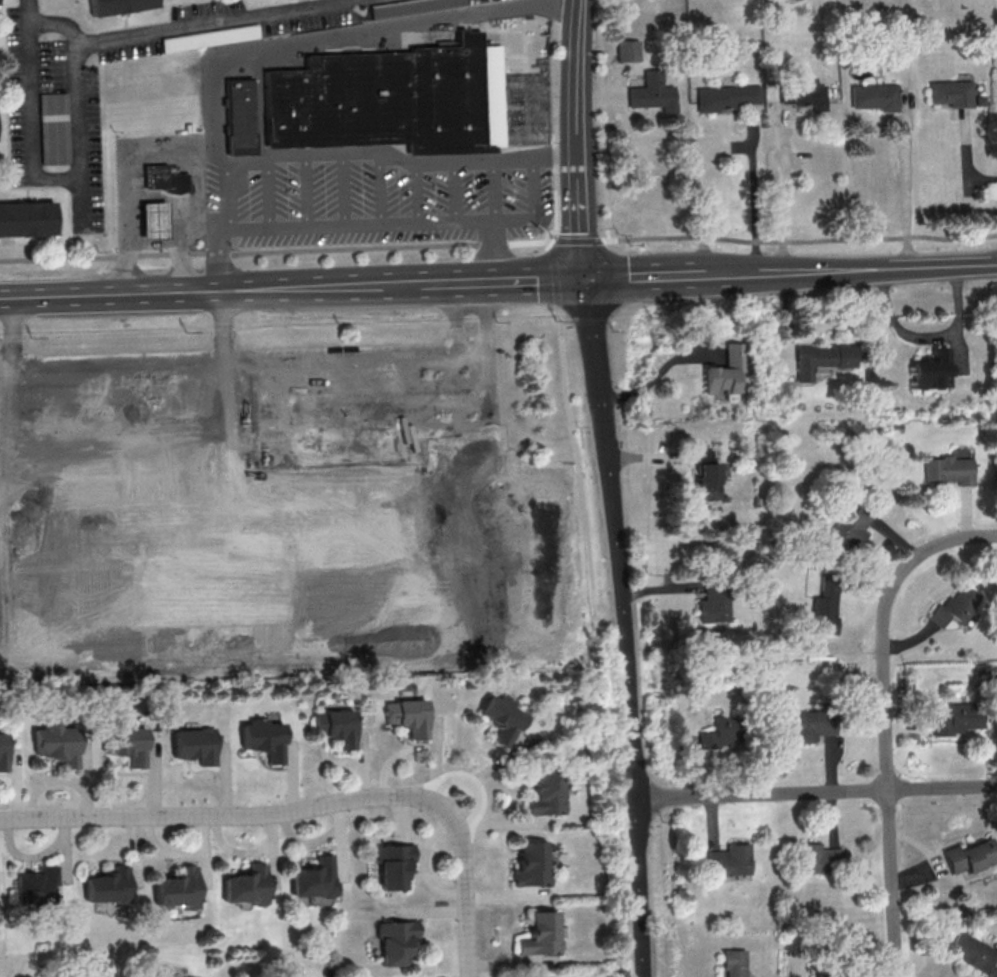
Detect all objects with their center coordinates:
road: (578, 2)
building: (115, 7)
road: (397, 26)
road: (172, 27)
building: (625, 52)
road: (576, 79)
building: (650, 95)
building: (948, 95)
building: (800, 97)
building: (871, 98)
building: (726, 99)
building: (389, 101)
road: (212, 113)
building: (235, 118)
road: (602, 119)
road: (552, 123)
building: (52, 129)
road: (159, 150)
road: (201, 152)
road: (400, 158)
road: (46, 178)
building: (161, 179)
road: (380, 186)
road: (342, 188)
road: (494, 189)
road: (906, 189)
road: (304, 190)
road: (455, 191)
road: (227, 192)
road: (267, 192)
road: (417, 192)
road: (784, 194)
road: (754, 195)
road: (536, 208)
road: (580, 217)
building: (25, 220)
building: (149, 221)
road: (392, 221)
road: (211, 223)
road: (498, 242)
road: (224, 256)
road: (891, 266)
road: (744, 272)
road: (644, 276)
road: (552, 278)
traffic signals: (585, 279)
road: (503, 281)
road: (324, 287)
road: (113, 295)
road: (587, 319)
building: (810, 358)
road: (564, 368)
building: (928, 373)
building: (721, 374)
building: (945, 472)
building: (703, 483)
building: (451, 485)
building: (850, 528)
building: (202, 589)
building: (712, 602)
building: (822, 607)
building: (956, 607)
road: (884, 626)
road: (623, 627)
building: (411, 715)
building: (498, 718)
building: (959, 720)
building: (339, 726)
building: (810, 726)
building: (723, 732)
building: (268, 738)
building: (60, 743)
building: (129, 744)
building: (198, 744)
building: (4, 751)
road: (634, 777)
road: (470, 783)
road: (815, 792)
building: (542, 793)
road: (225, 816)
building: (965, 857)
building: (817, 860)
building: (728, 861)
building: (528, 863)
building: (397, 867)
building: (318, 878)
road: (890, 883)
building: (38, 885)
building: (250, 885)
building: (111, 886)
building: (180, 888)
road: (465, 892)
building: (537, 934)
building: (399, 943)
building: (968, 954)
building: (731, 963)
building: (827, 975)

